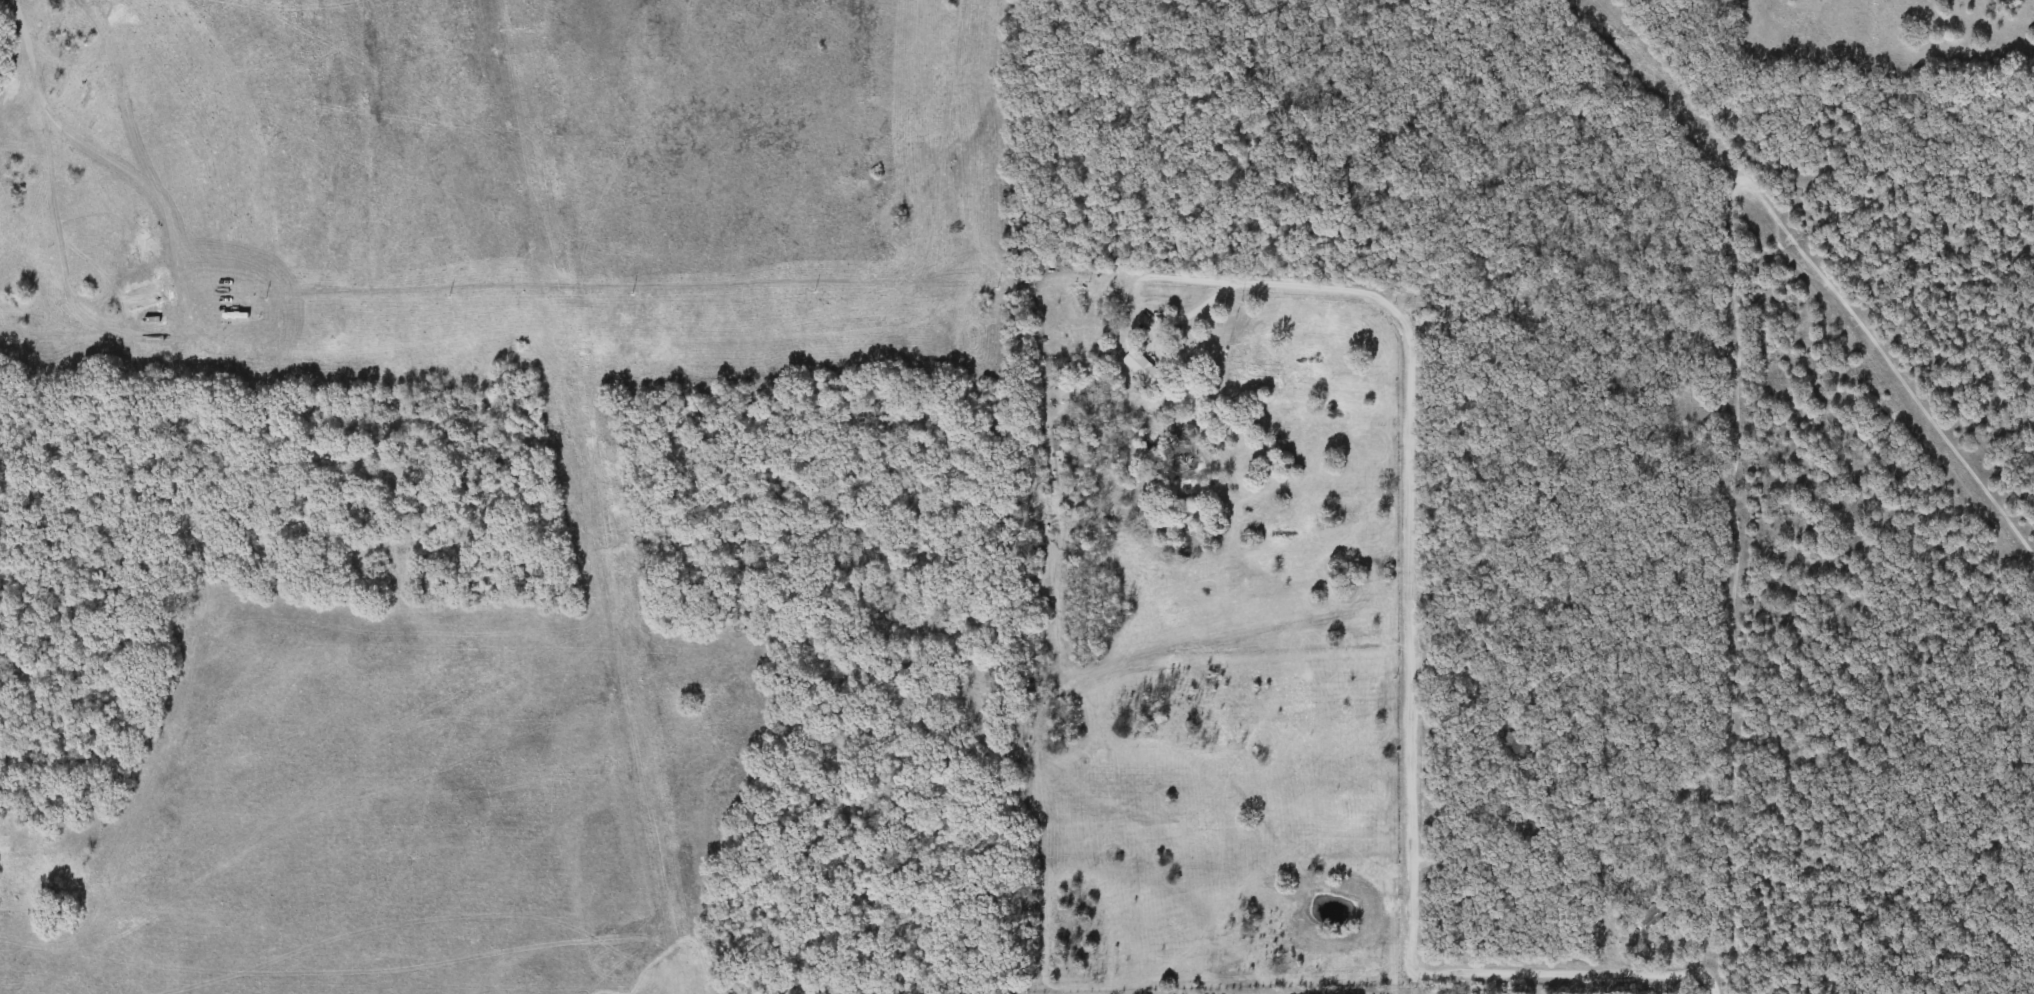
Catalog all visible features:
building: (1142, 367)
building: (1186, 466)
road: (1413, 646)
building: (1517, 743)
building: (1530, 836)
building: (1654, 913)

